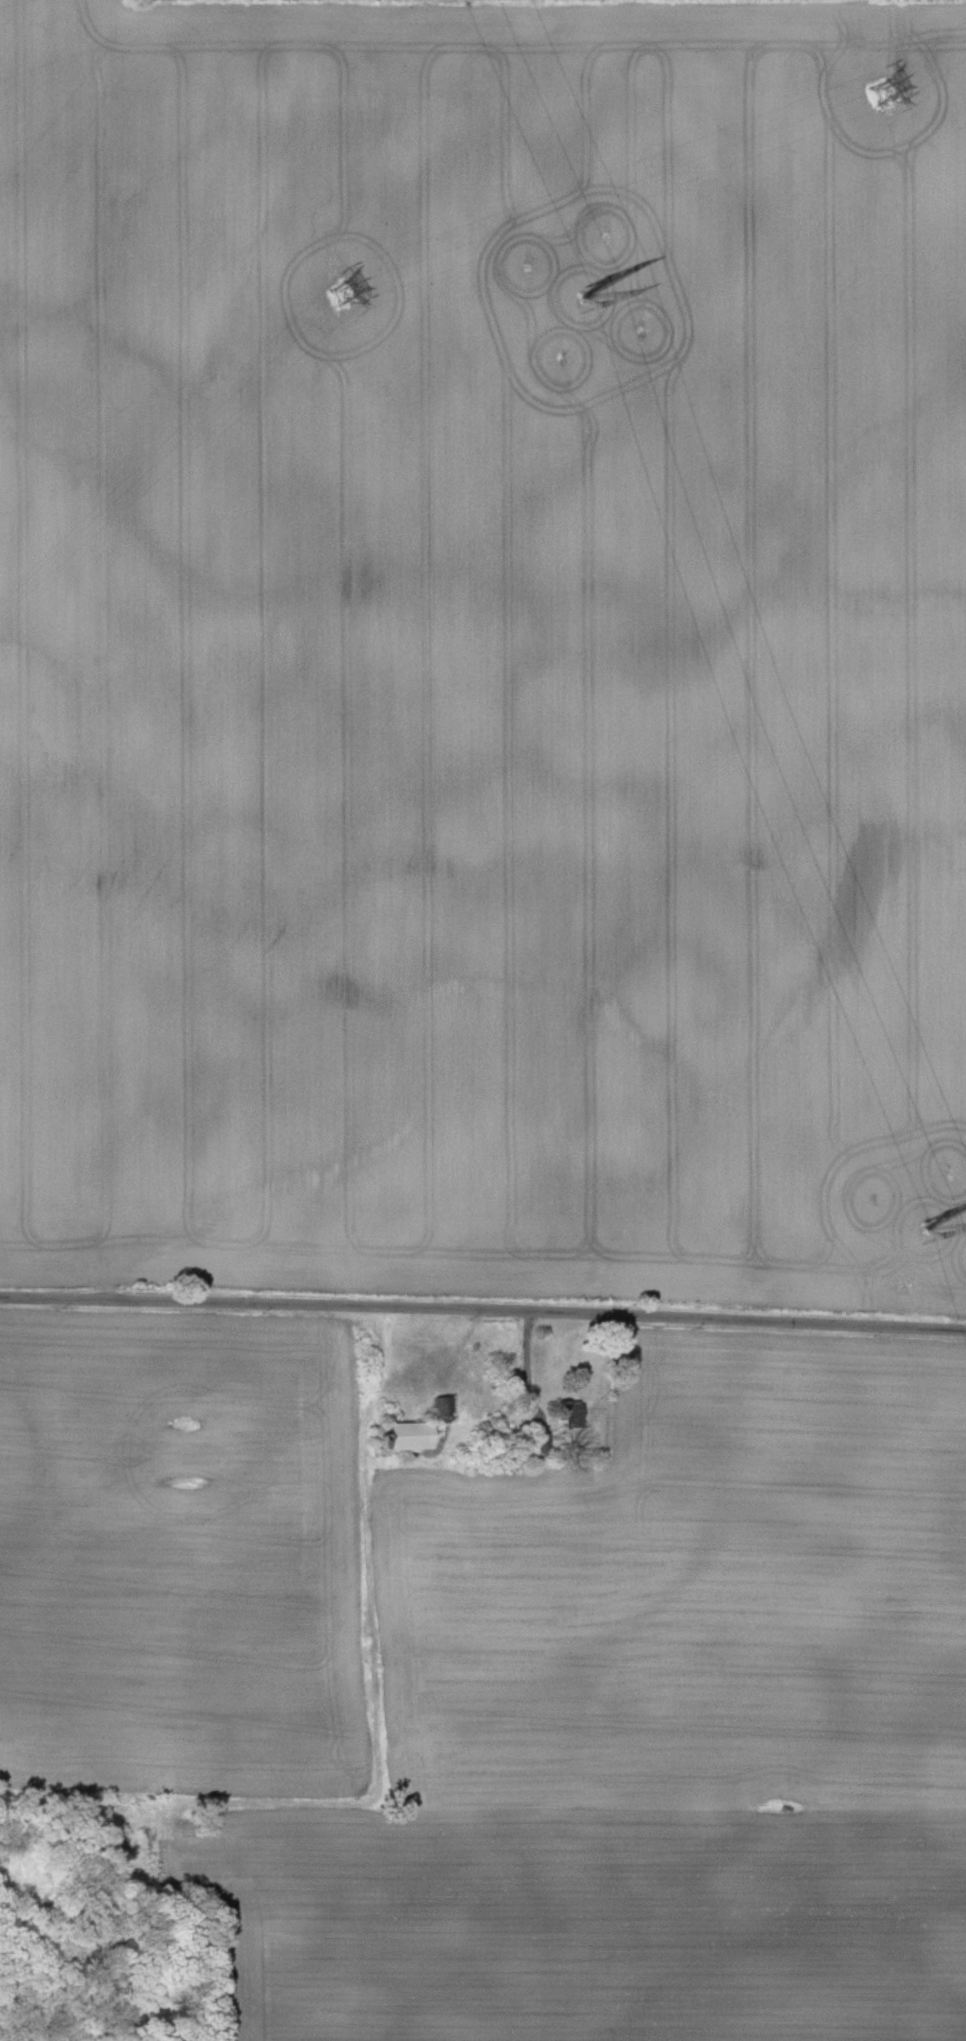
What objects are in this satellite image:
power tower: (884, 90)
power tower: (342, 291)
power tower: (578, 299)
power tower: (925, 1227)
road: (483, 1308)
building: (441, 1409)
building: (566, 1412)
building: (404, 1435)

